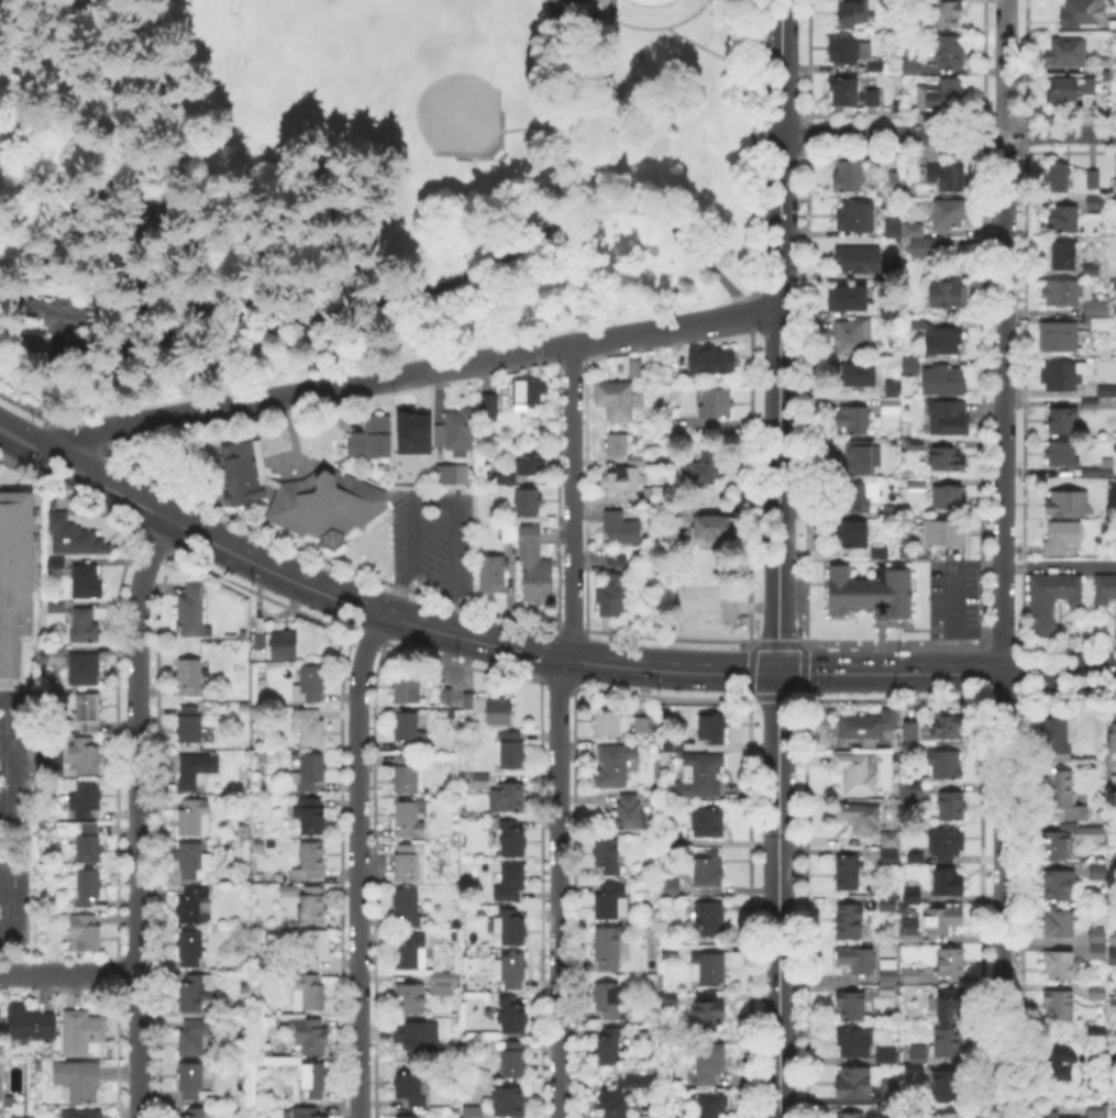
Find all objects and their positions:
building: (585, 0)
building: (653, 1)
building: (946, 12)
building: (1084, 12)
building: (853, 13)
building: (600, 24)
road: (633, 24)
building: (950, 52)
building: (1065, 52)
building: (853, 53)
road: (721, 56)
building: (911, 66)
park: (334, 77)
building: (830, 82)
building: (1089, 86)
building: (1063, 90)
building: (844, 91)
building: (942, 93)
building: (873, 98)
road: (948, 134)
building: (948, 175)
building: (850, 176)
building: (1058, 178)
building: (1094, 178)
building: (895, 179)
park: (357, 182)
building: (1115, 187)
road: (592, 196)
building: (1095, 203)
building: (949, 213)
building: (857, 214)
building: (150, 215)
building: (1063, 218)
building: (895, 229)
building: (915, 229)
building: (922, 246)
building: (1064, 255)
building: (860, 258)
building: (1091, 269)
building: (951, 294)
building: (847, 296)
building: (1081, 301)
building: (885, 307)
road: (306, 316)
building: (62, 317)
building: (919, 322)
building: (852, 335)
road: (777, 336)
building: (1059, 336)
road: (606, 339)
building: (944, 342)
building: (715, 359)
building: (839, 367)
building: (637, 368)
building: (858, 374)
building: (1063, 375)
building: (944, 379)
road: (364, 383)
building: (523, 389)
building: (895, 389)
building: (1115, 390)
building: (616, 398)
road: (49, 399)
building: (717, 402)
building: (1091, 403)
building: (485, 406)
building: (892, 406)
building: (949, 417)
road: (167, 418)
building: (853, 419)
building: (1062, 419)
building: (452, 429)
building: (411, 431)
building: (367, 438)
building: (918, 443)
road: (25, 444)
building: (618, 445)
building: (1062, 452)
building: (861, 456)
building: (642, 458)
building: (949, 460)
building: (531, 462)
building: (703, 469)
building: (1098, 473)
building: (453, 474)
building: (506, 479)
building: (620, 479)
building: (918, 483)
building: (303, 495)
building: (658, 495)
building: (950, 497)
building: (857, 498)
building: (528, 502)
building: (1069, 502)
road: (155, 513)
building: (677, 518)
building: (622, 528)
building: (714, 530)
building: (853, 533)
building: (944, 533)
building: (510, 534)
building: (74, 536)
building: (1064, 538)
road: (455, 544)
building: (880, 551)
building: (617, 555)
road: (413, 558)
road: (1002, 558)
building: (58, 563)
road: (1059, 566)
building: (534, 567)
building: (494, 573)
building: (14, 576)
building: (86, 582)
building: (1105, 589)
building: (615, 591)
building: (871, 591)
road: (953, 593)
building: (1050, 598)
building: (57, 606)
building: (192, 607)
building: (84, 624)
building: (258, 642)
building: (284, 644)
road: (511, 649)
building: (53, 654)
building: (84, 668)
traffic signals: (775, 674)
road: (946, 674)
building: (190, 676)
building: (310, 683)
building: (407, 689)
building: (446, 696)
building: (476, 704)
building: (499, 711)
building: (87, 712)
building: (610, 722)
building: (190, 723)
building: (644, 724)
building: (869, 724)
building: (310, 726)
building: (949, 727)
building: (407, 728)
building: (712, 729)
road: (559, 730)
building: (911, 730)
building: (1060, 732)
building: (1113, 738)
building: (673, 745)
building: (911, 748)
building: (512, 750)
building: (84, 755)
building: (946, 763)
building: (615, 765)
building: (311, 770)
building: (194, 771)
building: (408, 772)
building: (859, 772)
building: (700, 775)
building: (482, 781)
building: (1113, 784)
building: (915, 792)
building: (1064, 794)
building: (508, 797)
building: (86, 798)
road: (11, 807)
building: (953, 807)
building: (627, 811)
road: (137, 816)
building: (312, 816)
building: (196, 817)
building: (410, 817)
building: (860, 817)
building: (708, 821)
building: (1097, 829)
building: (891, 835)
building: (674, 838)
building: (82, 839)
building: (512, 839)
building: (947, 843)
building: (1054, 845)
building: (608, 854)
building: (891, 856)
building: (915, 856)
building: (194, 861)
building: (311, 861)
building: (408, 861)
road: (357, 864)
building: (709, 870)
building: (848, 870)
building: (1101, 870)
building: (511, 882)
building: (949, 882)
building: (1058, 884)
building: (88, 885)
building: (672, 886)
building: (914, 890)
building: (290, 892)
road: (776, 895)
building: (611, 900)
building: (312, 904)
building: (888, 904)
building: (194, 905)
building: (408, 906)
building: (509, 912)
building: (709, 918)
building: (941, 921)
building: (853, 922)
building: (1060, 923)
building: (513, 930)
building: (910, 930)
building: (86, 933)
building: (1113, 938)
road: (1039, 941)
building: (1098, 943)
building: (314, 947)
building: (608, 947)
building: (190, 948)
building: (411, 950)
building: (669, 954)
building: (1113, 956)
building: (859, 959)
building: (951, 961)
building: (1061, 965)
building: (709, 967)
building: (513, 970)
road: (68, 973)
building: (911, 975)
building: (446, 977)
building: (888, 978)
building: (195, 992)
building: (310, 992)
building: (1097, 992)
building: (410, 998)
building: (611, 999)
building: (670, 1000)
building: (950, 1003)
building: (1059, 1004)
building: (1113, 1005)
building: (852, 1006)
building: (707, 1011)
building: (512, 1015)
building: (31, 1022)
building: (84, 1032)
building: (399, 1032)
building: (612, 1033)
building: (1097, 1033)
building: (310, 1034)
building: (421, 1034)
building: (197, 1039)
building: (855, 1041)
building: (948, 1041)
building: (423, 1050)
building: (608, 1050)
building: (920, 1053)
building: (893, 1055)
building: (512, 1058)
building: (1060, 1061)
building: (708, 1065)
building: (915, 1073)
building: (79, 1080)
building: (313, 1080)
building: (192, 1081)
building: (854, 1082)
building: (640, 1084)
building: (947, 1084)
building: (410, 1087)
building: (891, 1089)
building: (509, 1102)
building: (611, 1104)
building: (711, 1105)
building: (887, 1109)
building: (474, 1111)
building: (1096, 1111)
building: (199, 1113)
building: (306, 1113)
building: (82, 1114)
building: (946, 1115)
building: (1053, 1115)
building: (847, 1116)
building: (407, 1117)

